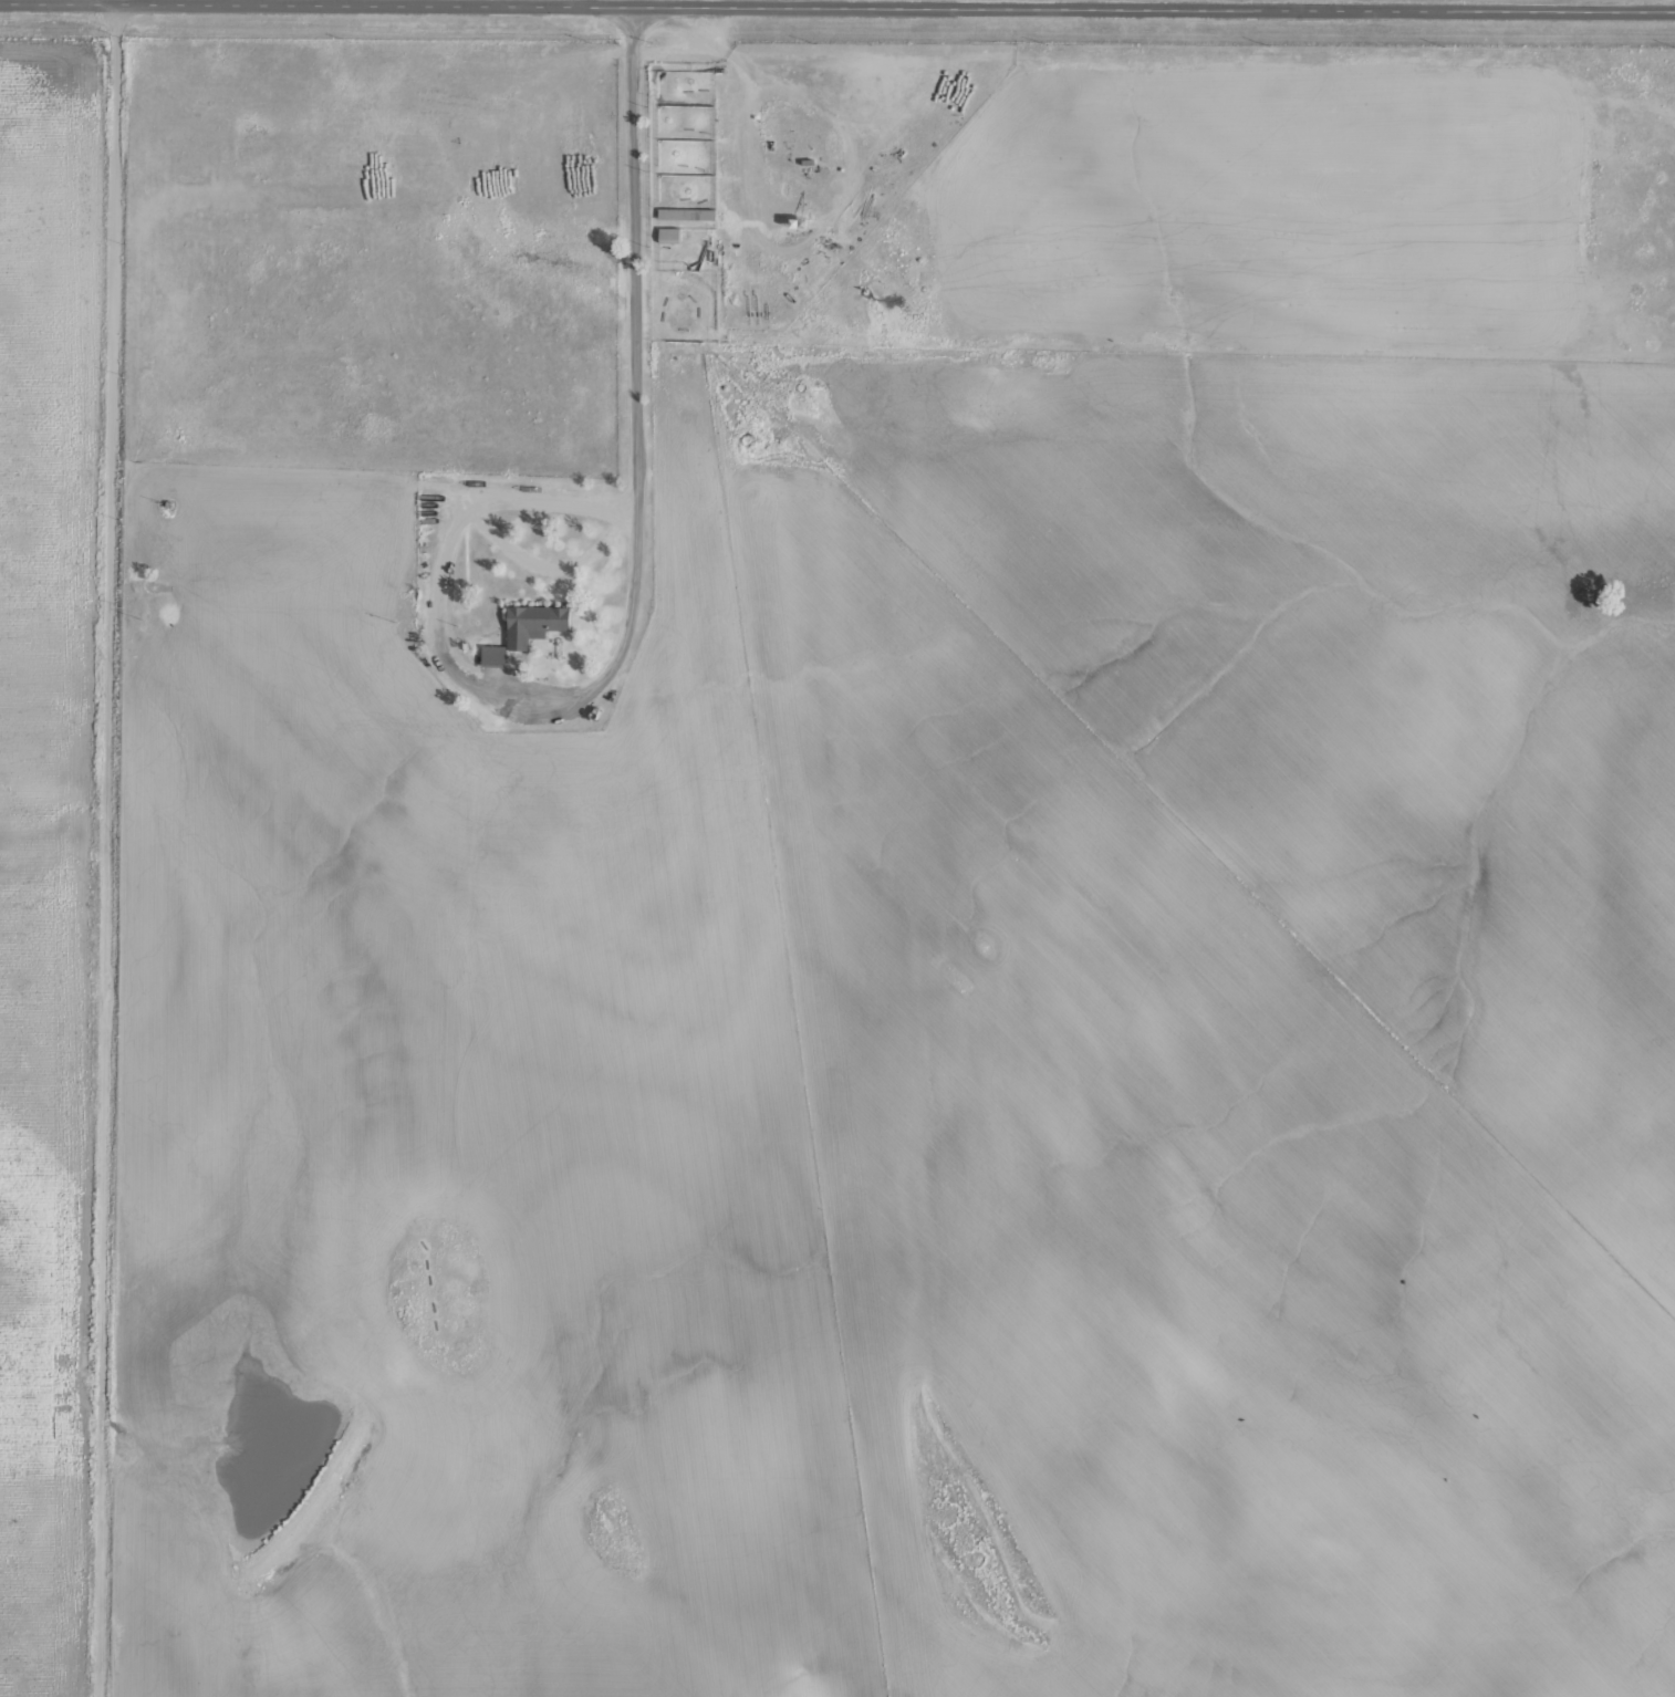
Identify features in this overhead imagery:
road: (836, 2)
road: (1317, 116)
building: (690, 216)
building: (673, 237)
building: (532, 632)
road: (112, 847)
road: (884, 1008)

